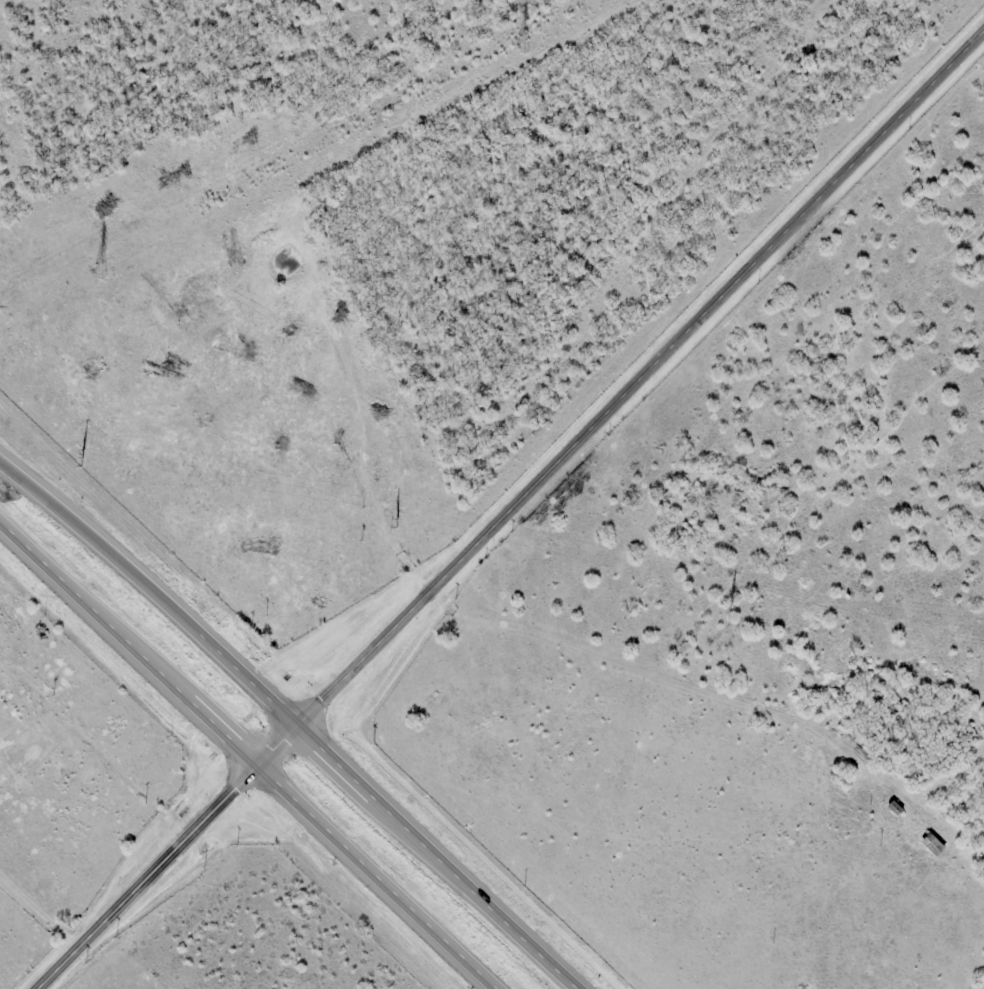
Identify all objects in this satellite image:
power tower: (519, 45)
power tower: (98, 271)
power tower: (80, 456)
road: (511, 513)
power tower: (396, 520)
road: (27, 548)
road: (113, 556)
power tower: (730, 604)
road: (276, 782)
road: (401, 822)
building: (932, 844)

